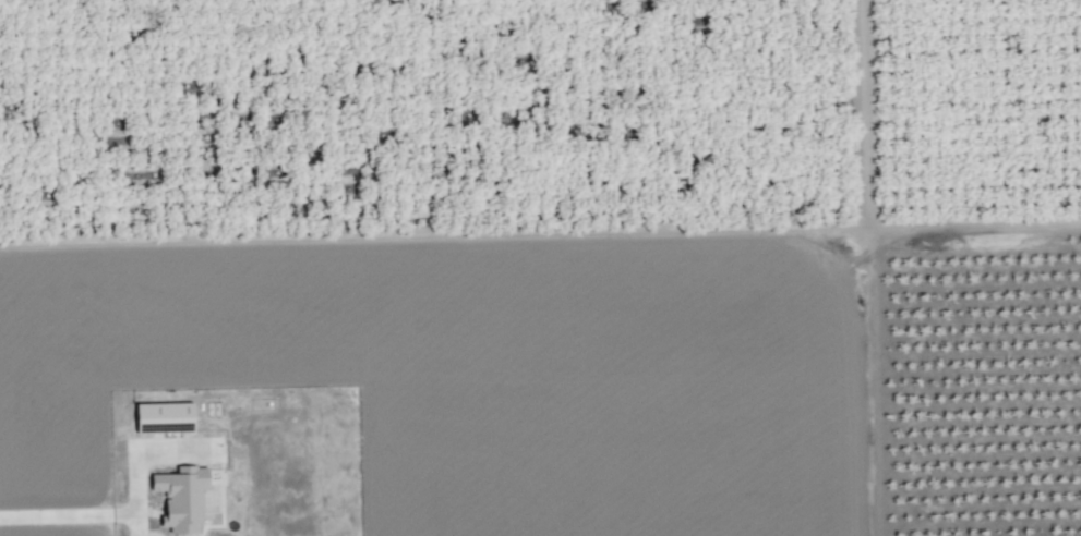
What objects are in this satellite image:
building: (161, 417)
road: (89, 507)

